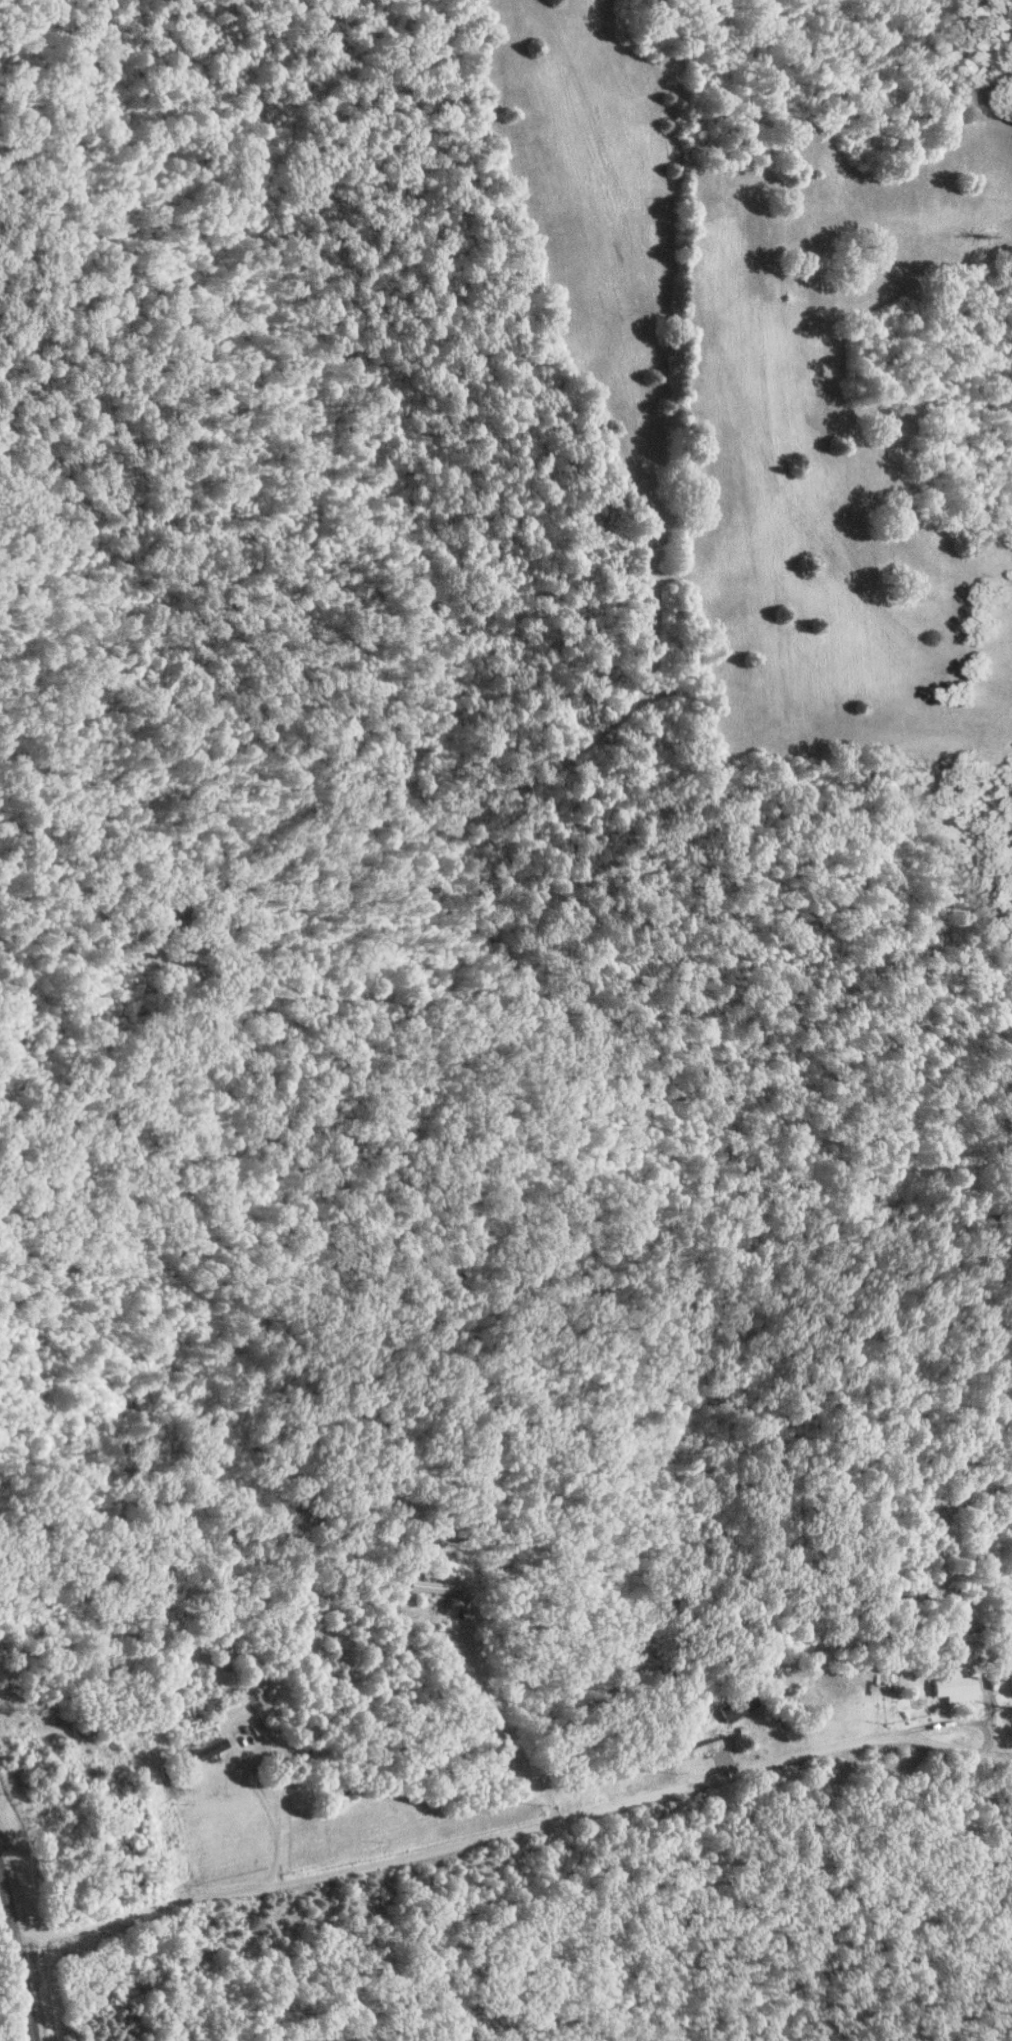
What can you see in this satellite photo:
road: (84, 929)
building: (432, 1586)
building: (970, 1630)
road: (478, 1675)
building: (956, 1685)
building: (739, 1705)
road: (958, 1747)
building: (203, 1753)
road: (492, 1830)
road: (8, 1903)
road: (26, 1987)

